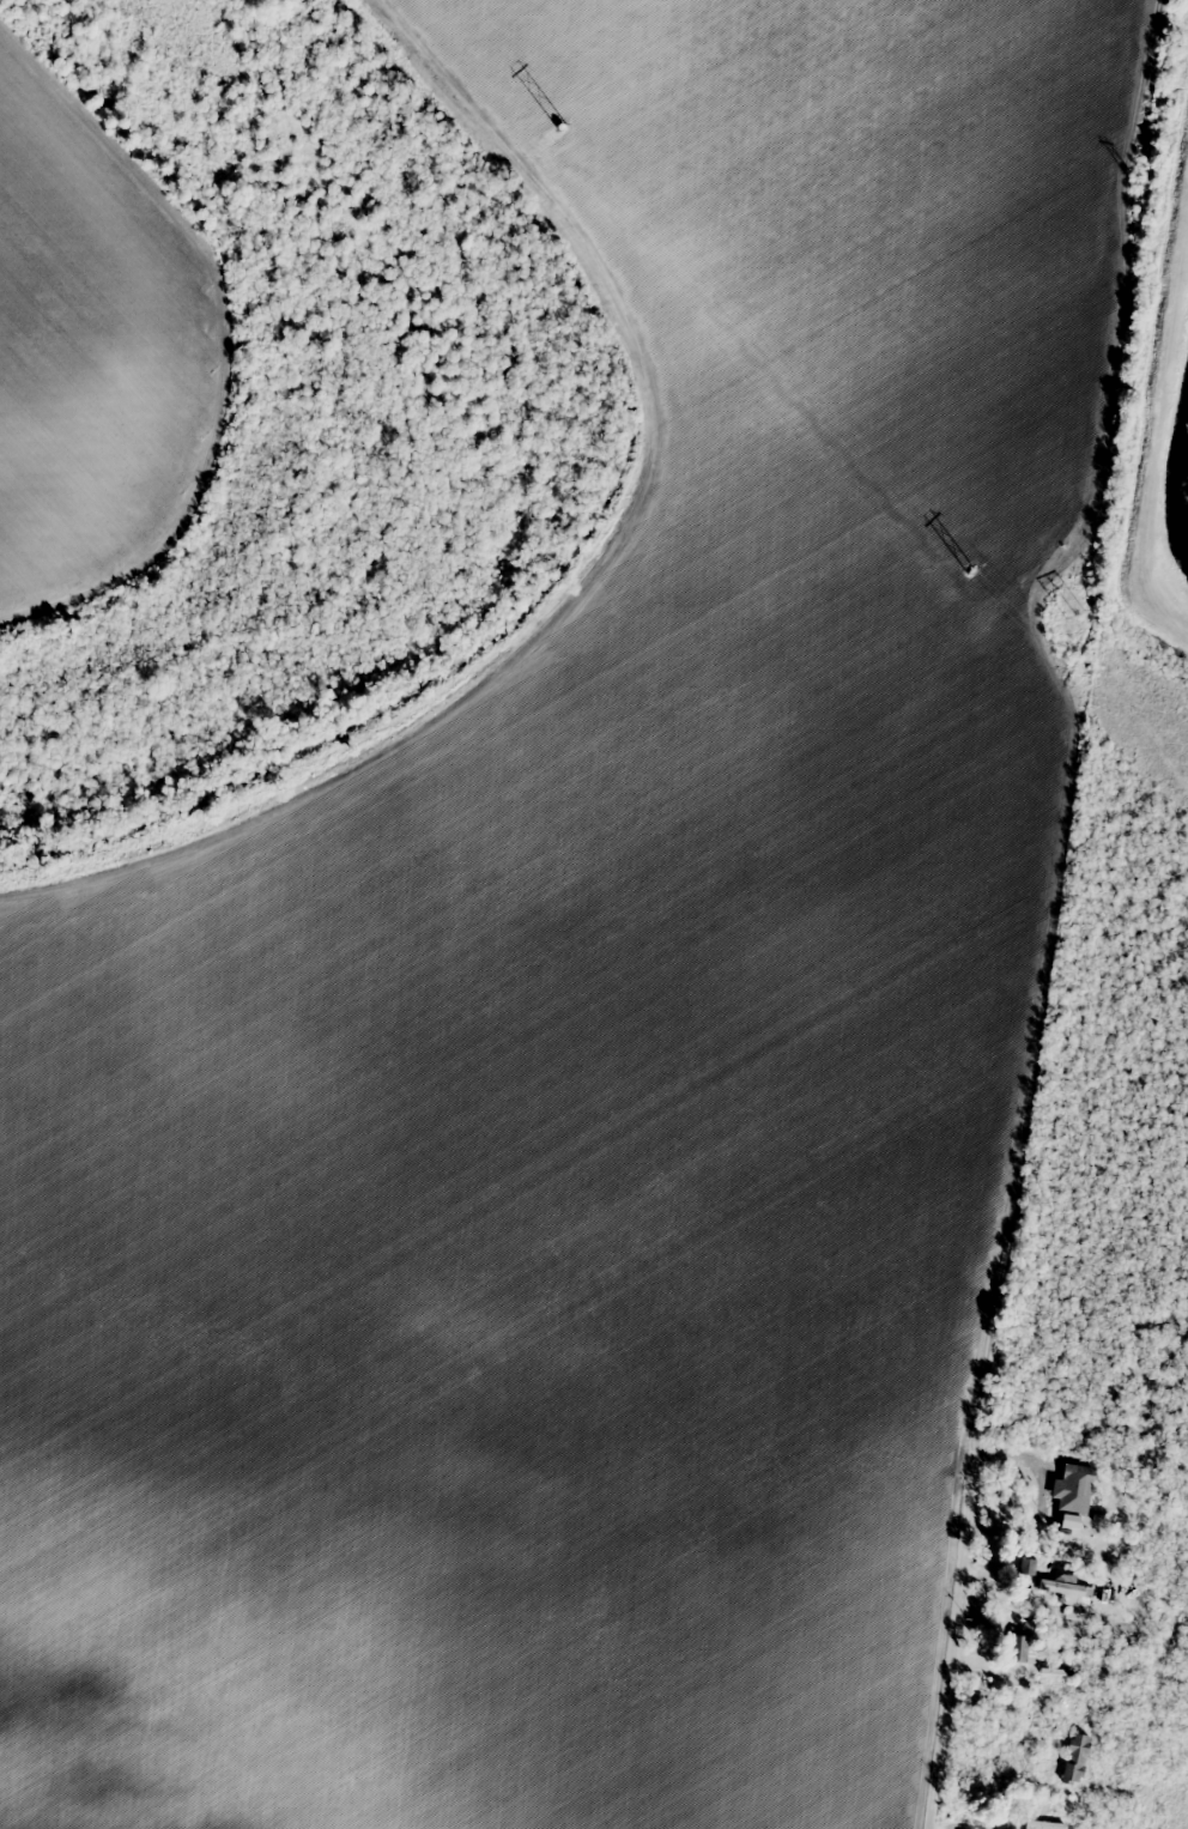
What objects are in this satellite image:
power tower: (562, 128)
power tower: (1132, 178)
power tower: (970, 571)
road: (604, 593)
power tower: (1075, 613)
building: (1077, 1483)
building: (1026, 1568)
road: (959, 1574)
building: (1065, 1592)
building: (1019, 1652)
building: (1073, 1758)
building: (1043, 1825)

